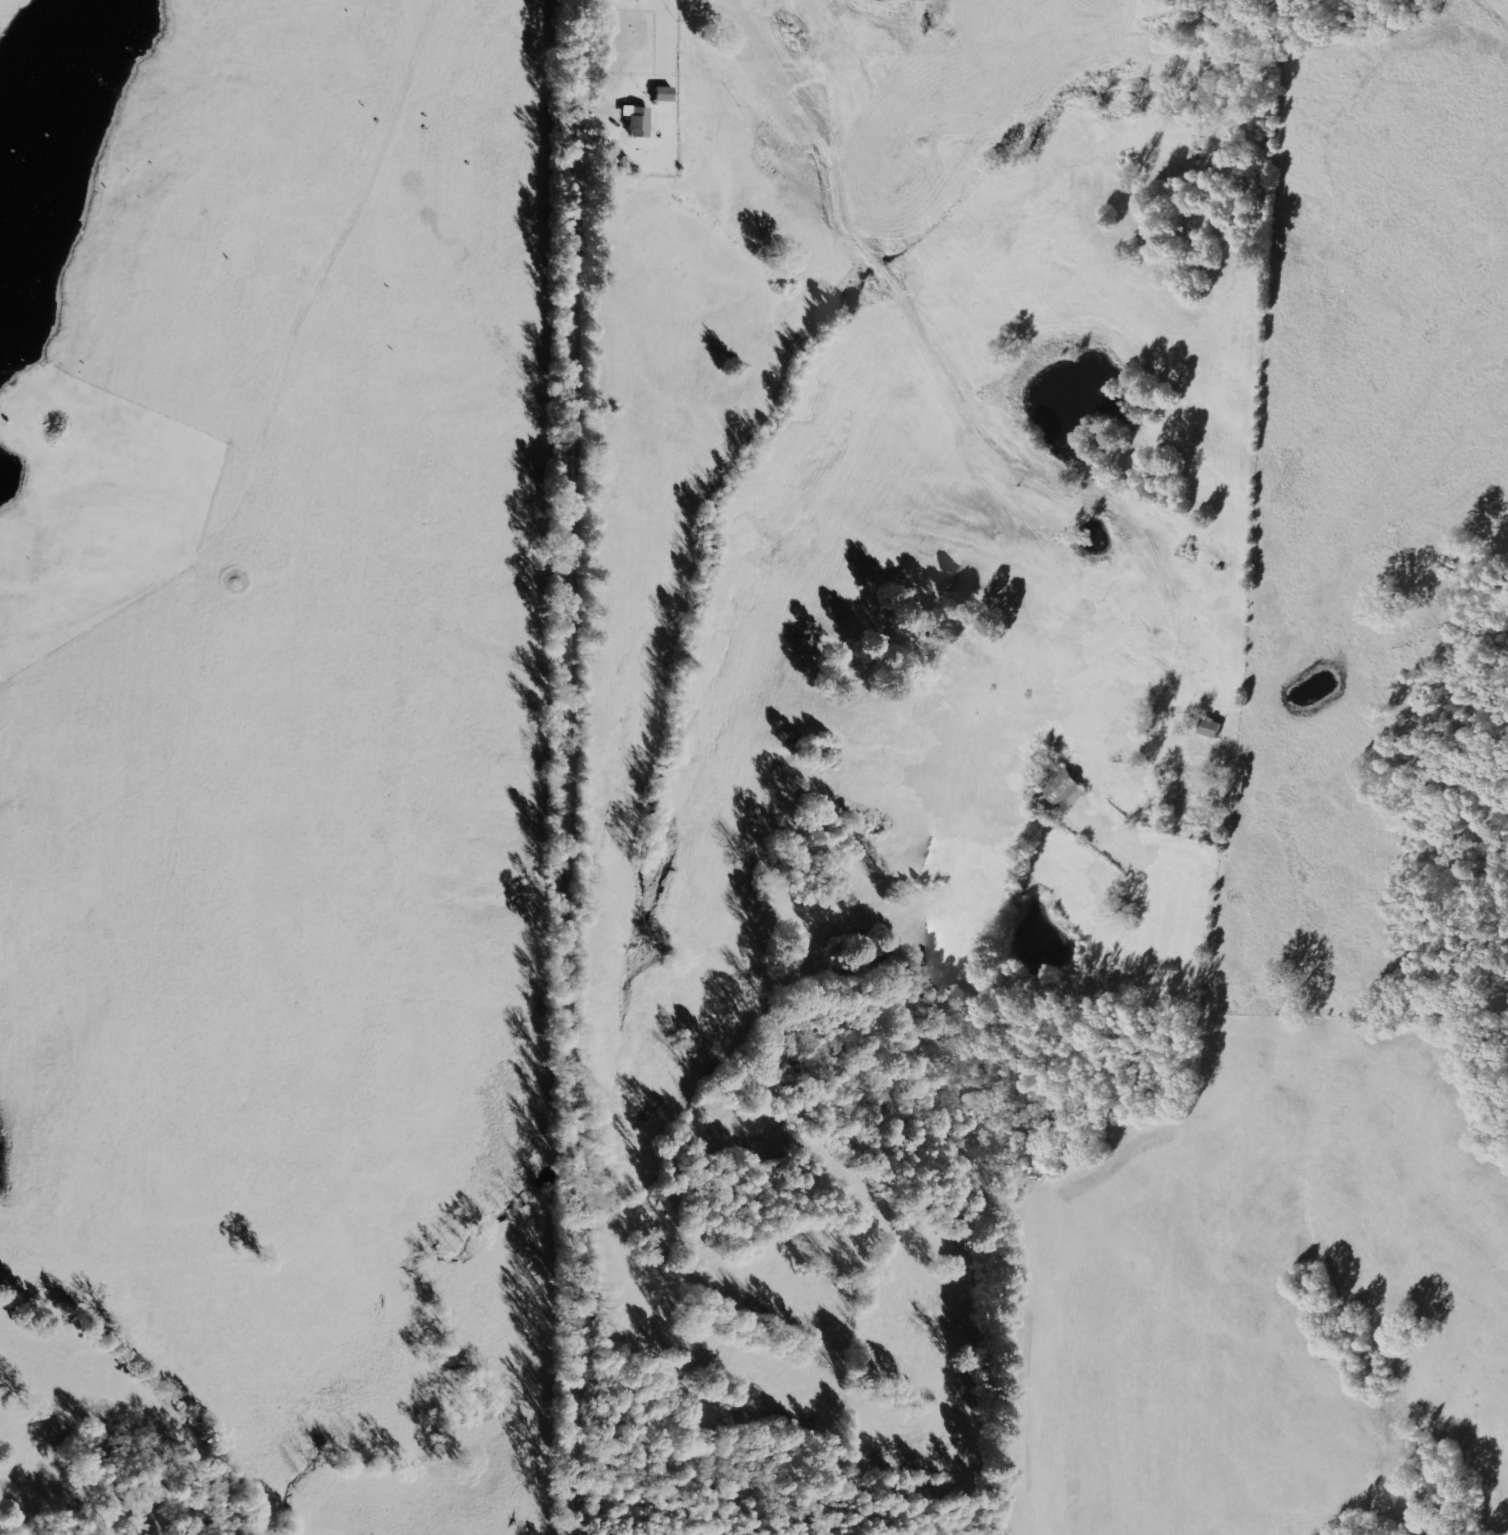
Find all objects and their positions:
building: (636, 121)
building: (1209, 727)
road: (572, 767)
building: (1064, 789)

